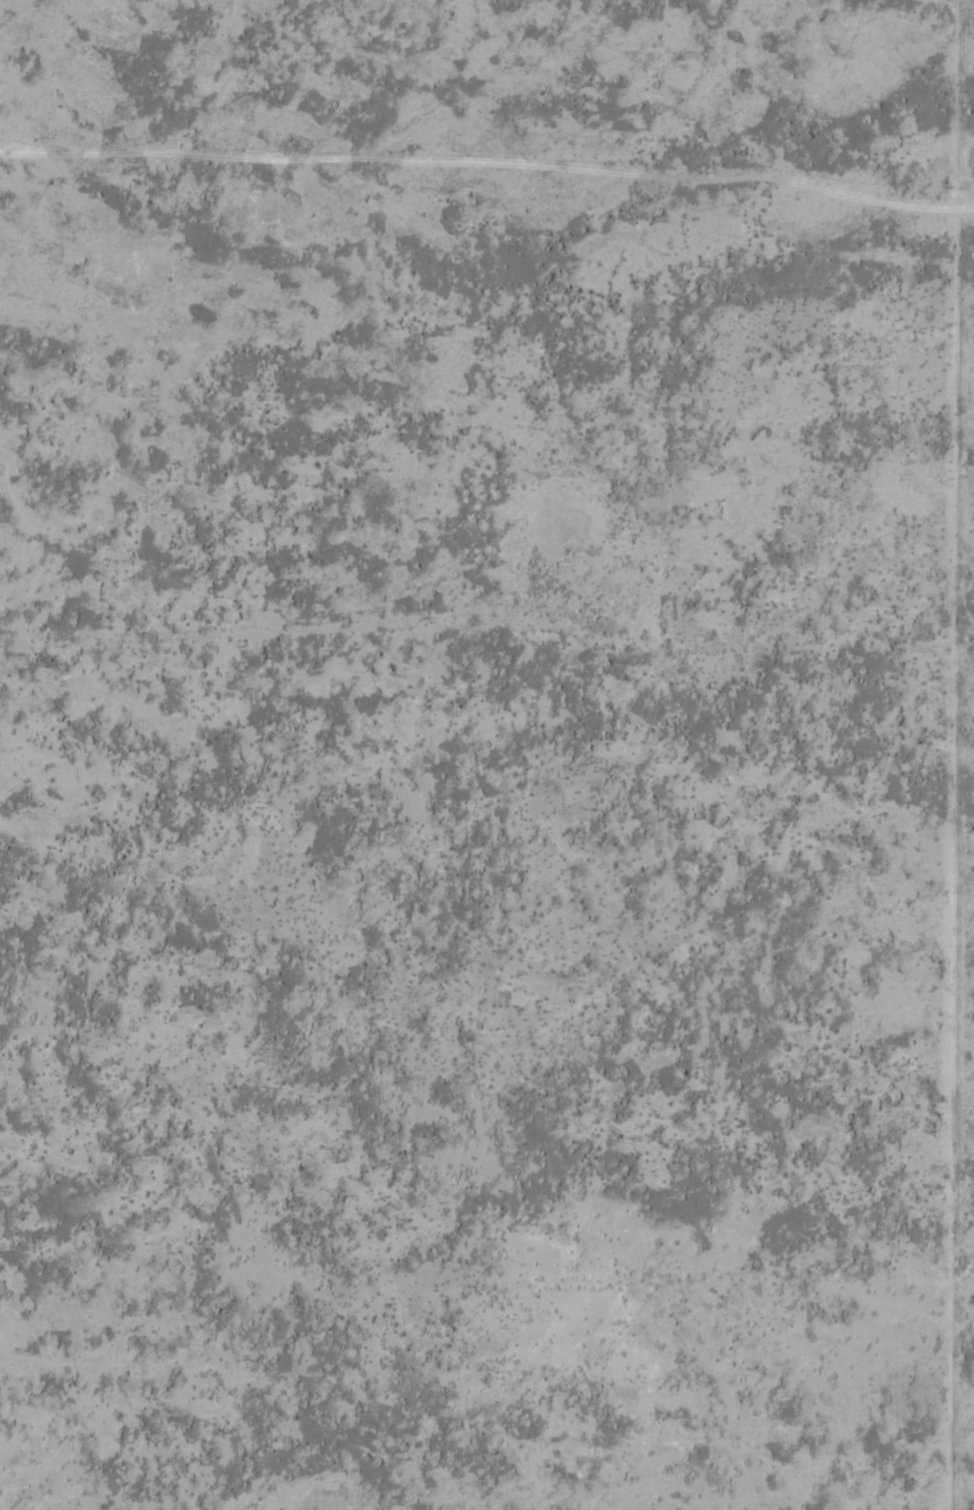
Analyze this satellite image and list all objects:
road: (490, 160)

